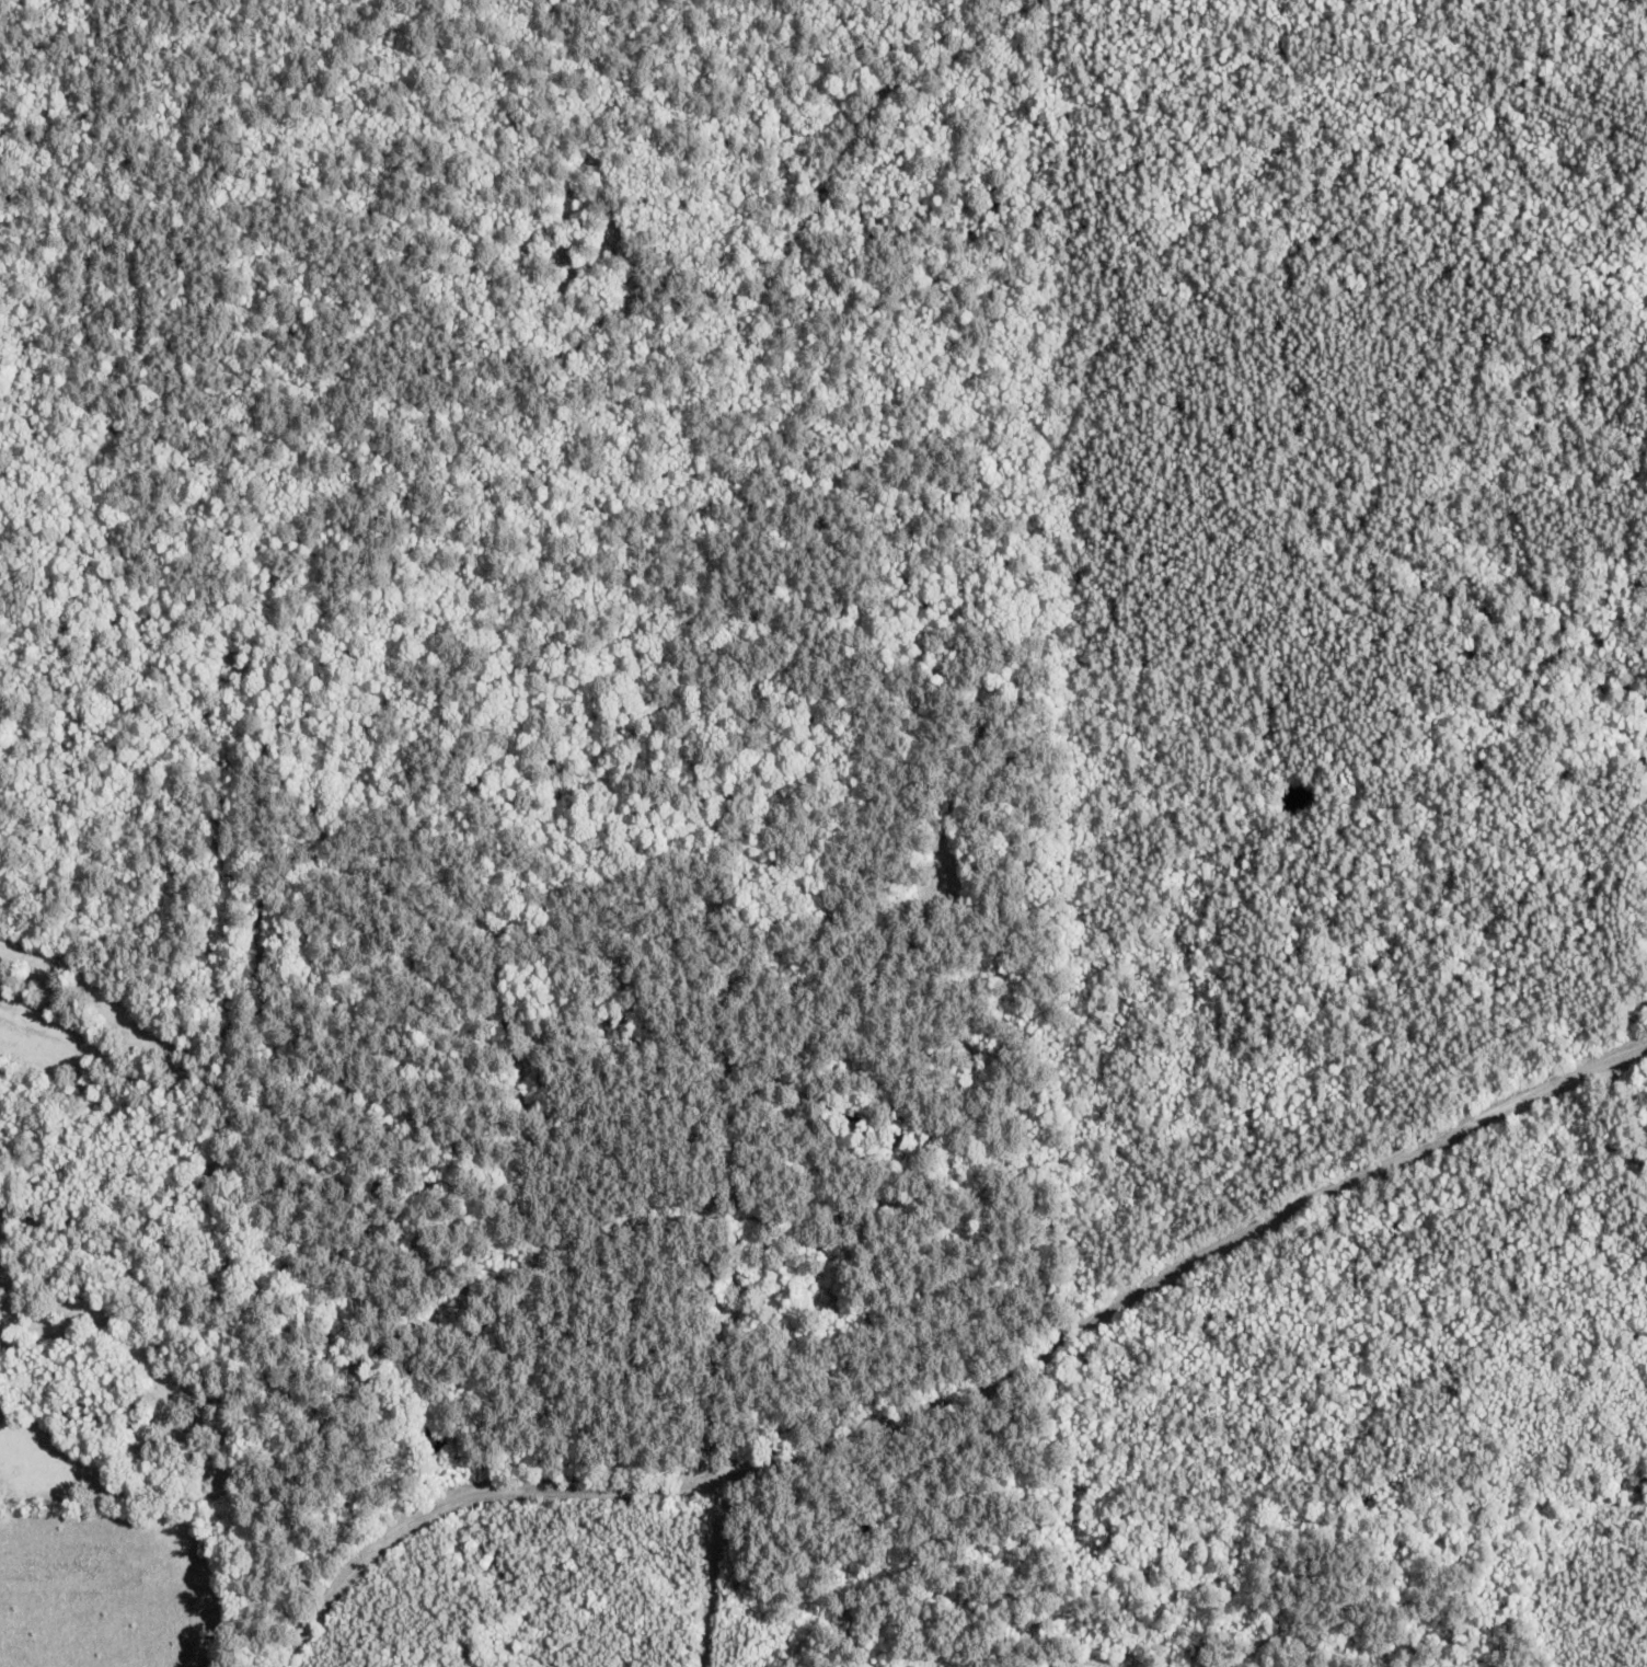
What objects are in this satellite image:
road: (960, 1396)

